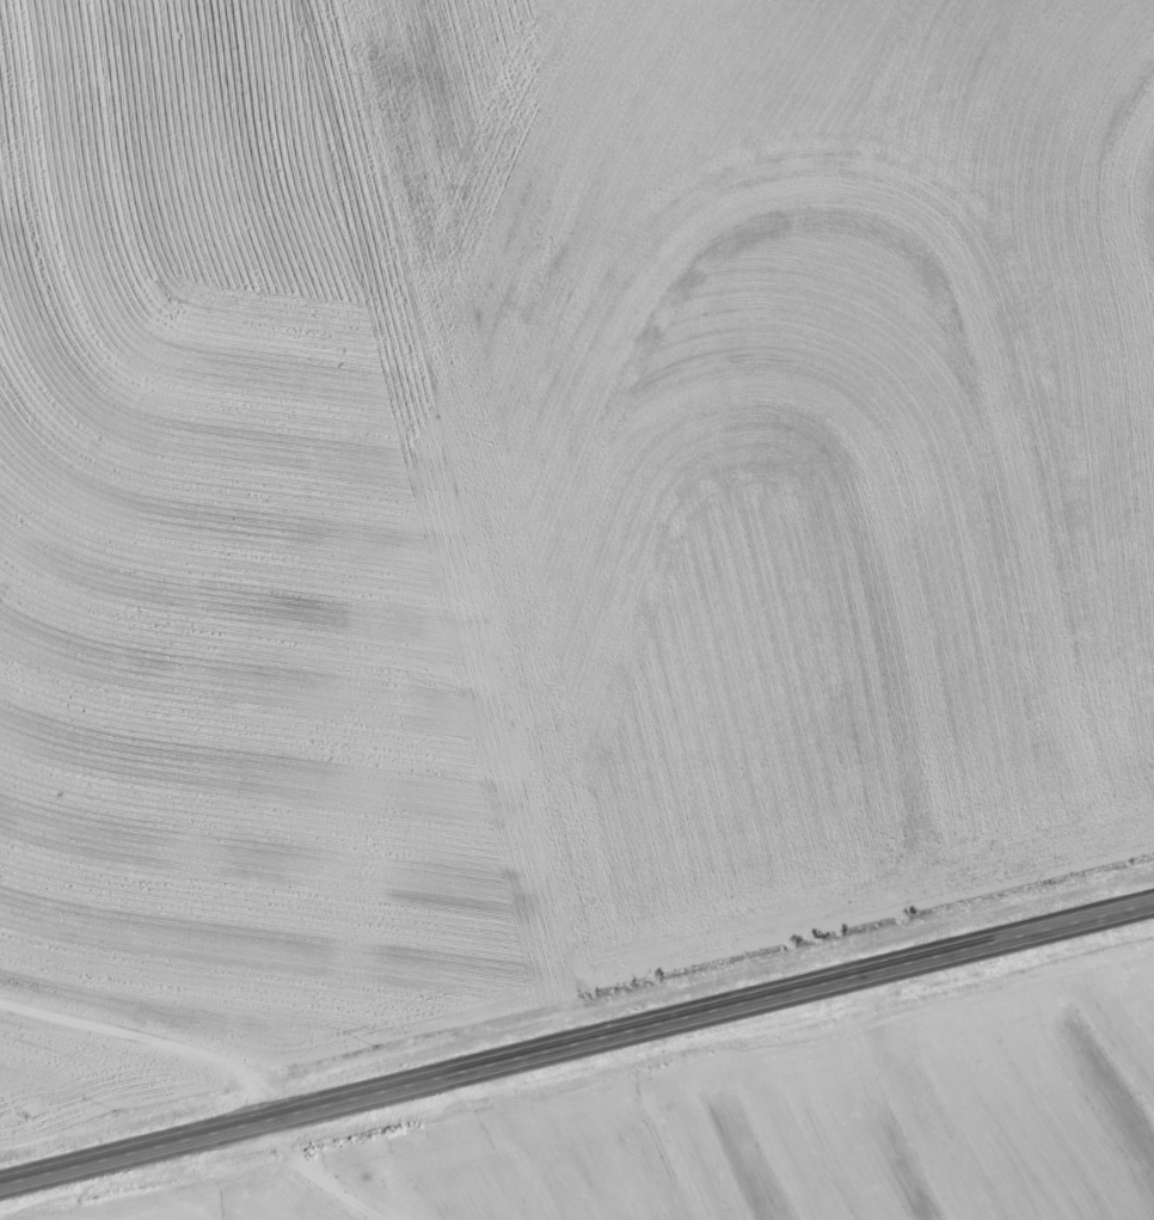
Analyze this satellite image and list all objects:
road: (577, 1038)
road: (145, 1041)
road: (312, 1176)

